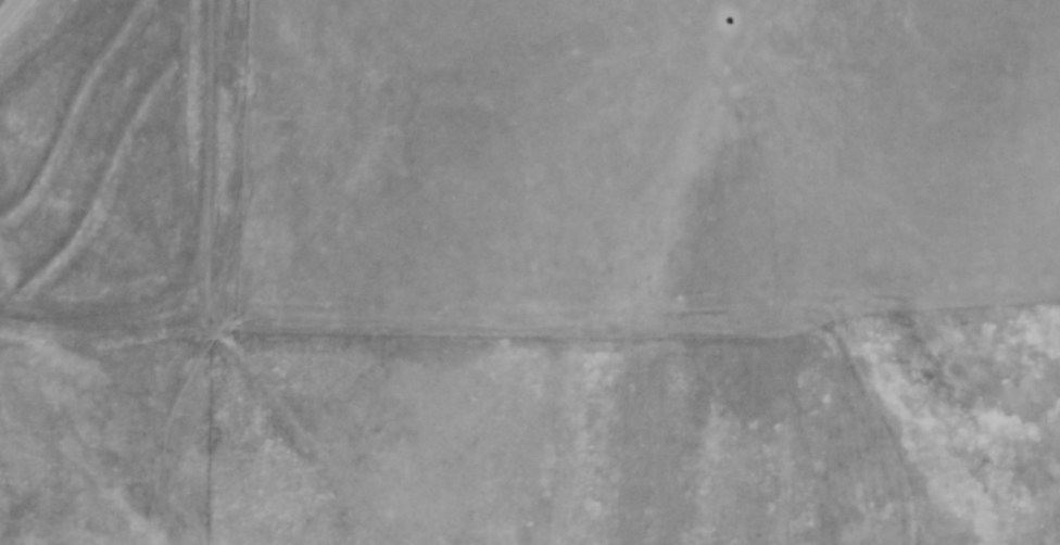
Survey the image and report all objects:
road: (11, 12)

